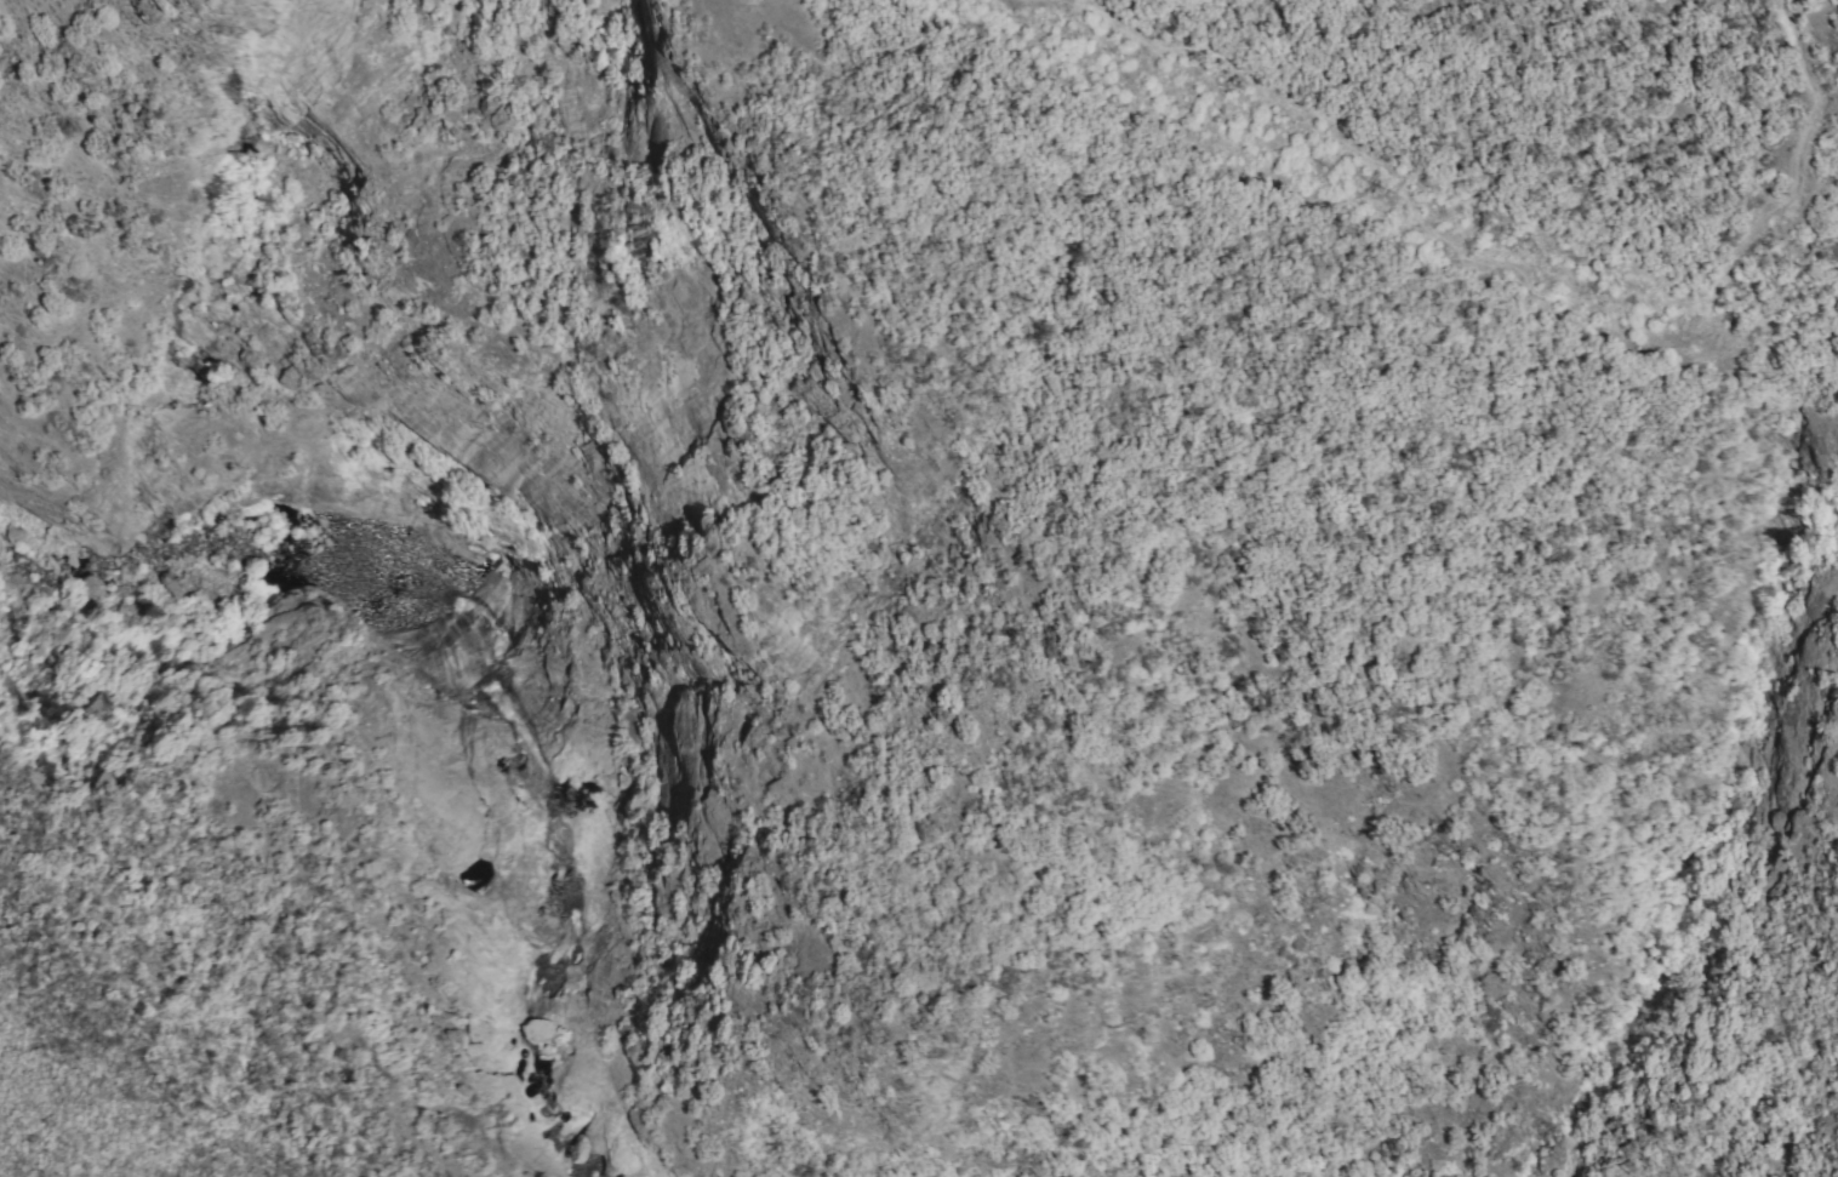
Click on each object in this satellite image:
power tower: (1386, 190)
river: (473, 680)

